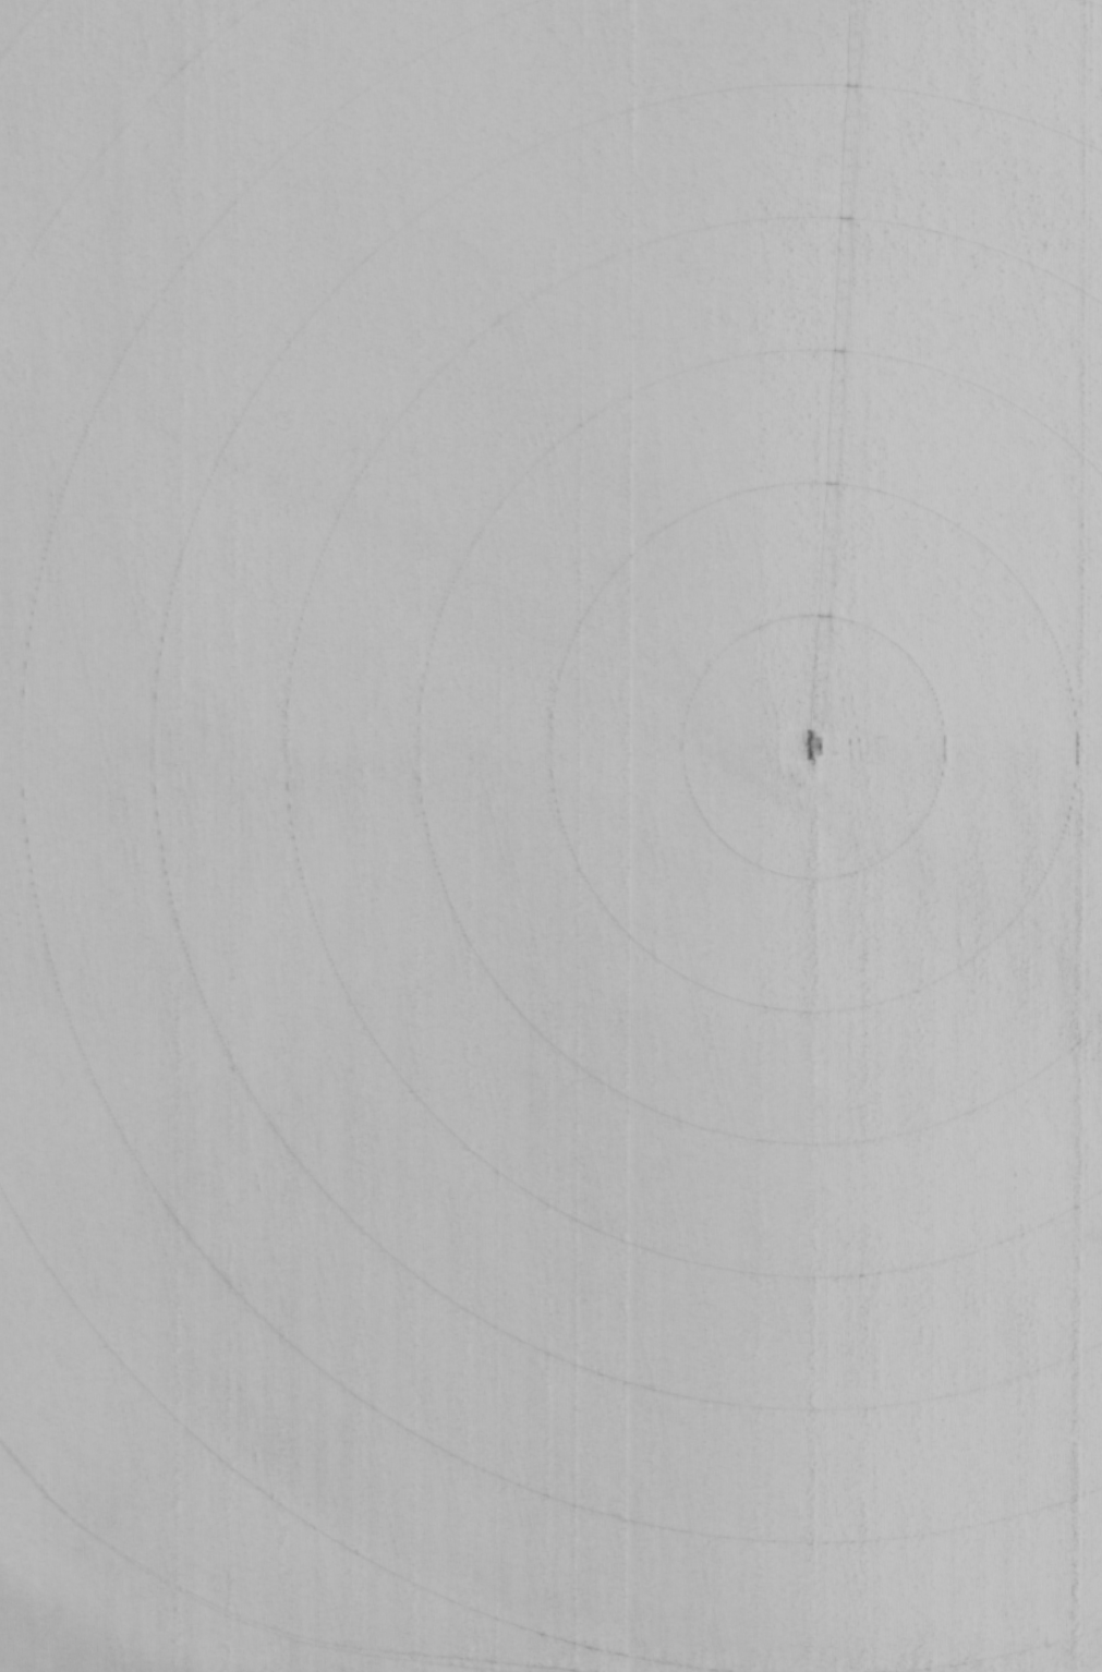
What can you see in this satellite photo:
crop: (550, 836)

